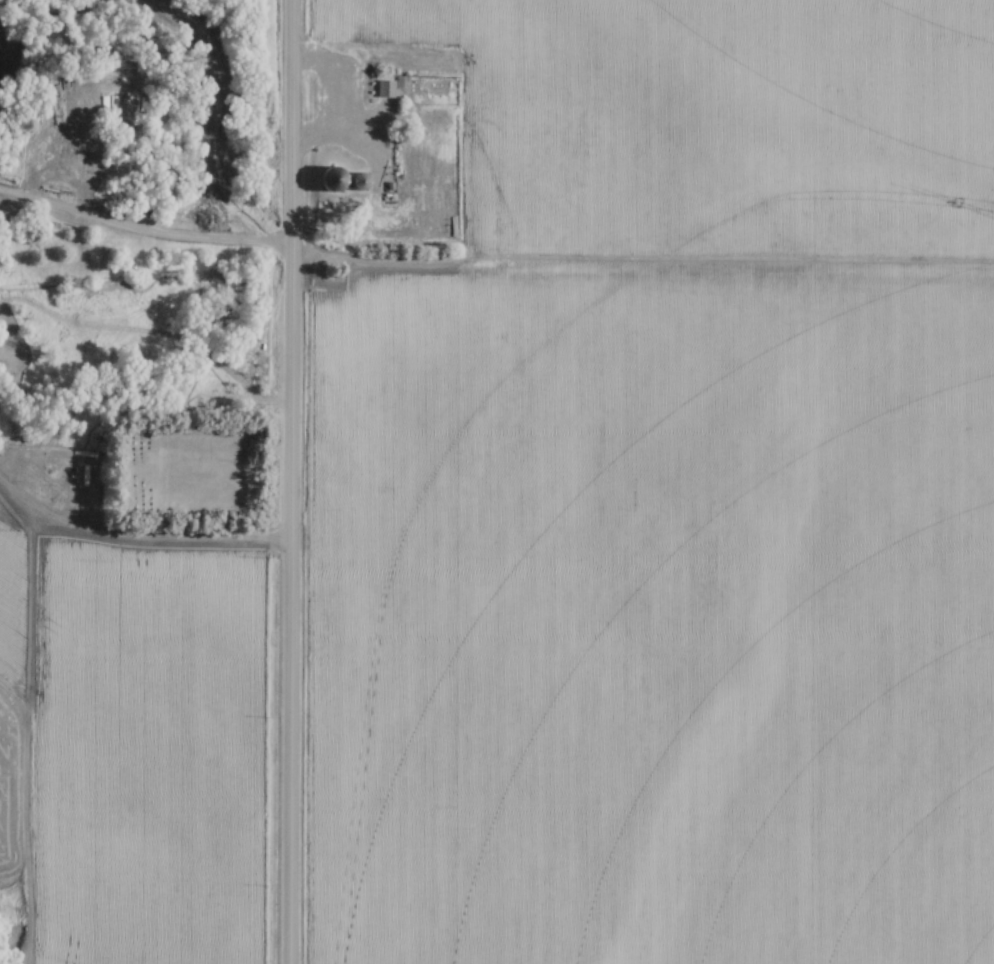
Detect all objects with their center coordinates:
building: (67, 85)
building: (441, 86)
building: (452, 86)
building: (384, 89)
crop: (713, 121)
road: (344, 133)
building: (331, 180)
silo: (330, 181)
building: (414, 190)
building: (367, 207)
road: (491, 264)
road: (292, 481)
road: (139, 530)
crop: (652, 618)
crop: (137, 742)

